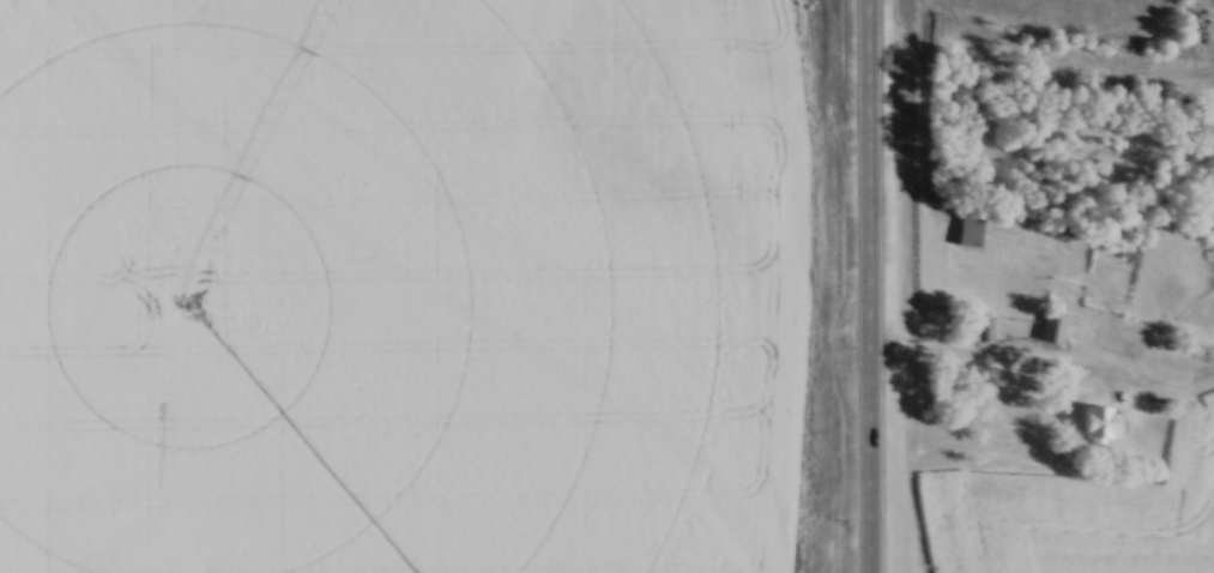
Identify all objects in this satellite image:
building: (1212, 222)
building: (968, 223)
road: (869, 286)
building: (976, 326)
building: (1050, 326)
road: (987, 358)
building: (1100, 422)

